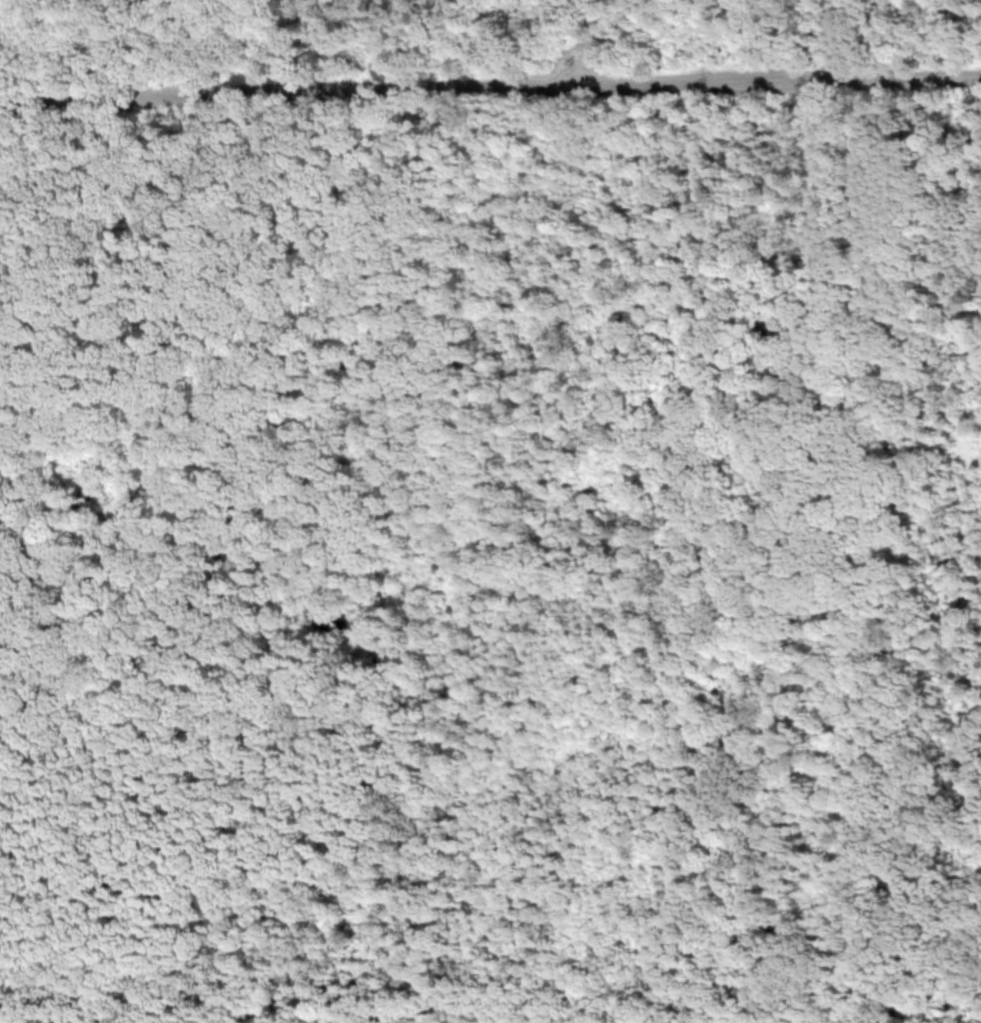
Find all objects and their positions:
road: (490, 83)
park: (490, 511)

